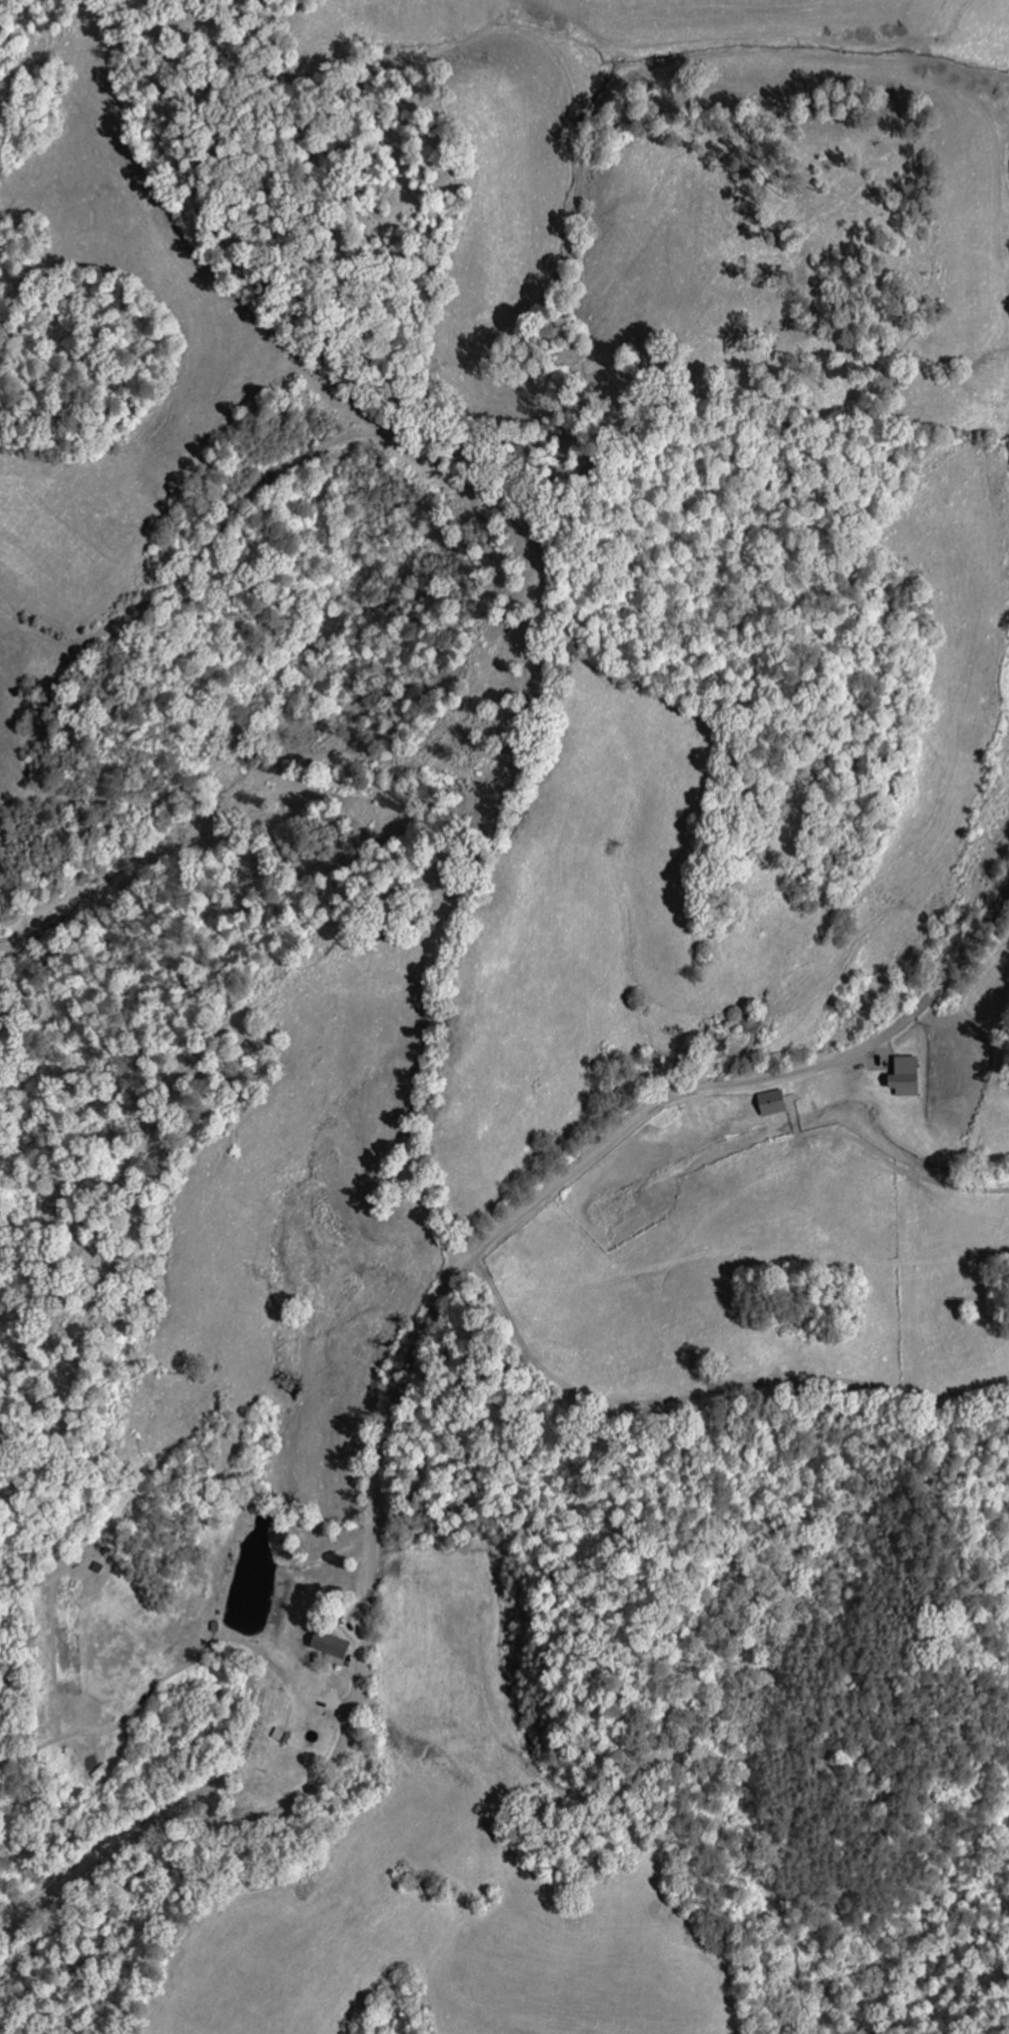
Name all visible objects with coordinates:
building: (903, 1076)
building: (769, 1103)
road: (409, 1360)
building: (328, 1646)
building: (277, 1735)

